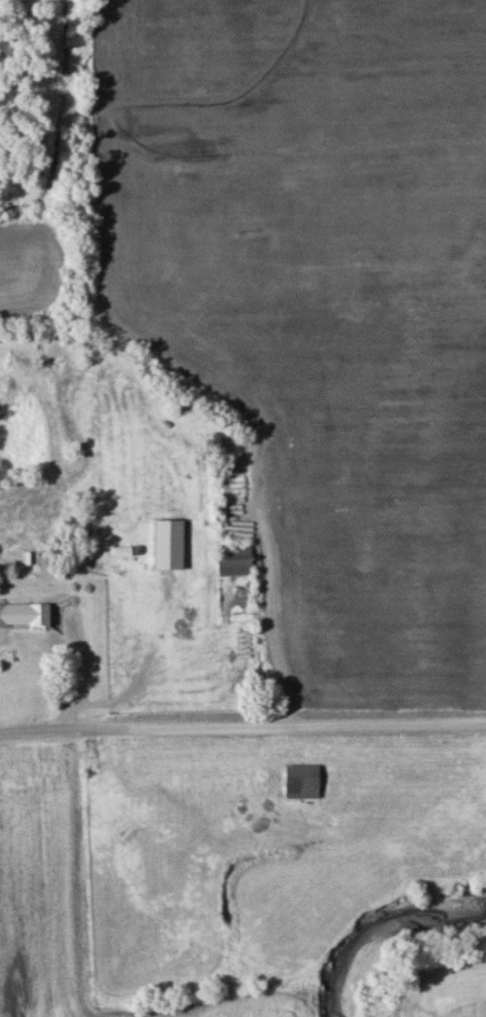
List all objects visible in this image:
building: (238, 561)
building: (27, 616)
road: (242, 726)
building: (305, 781)

